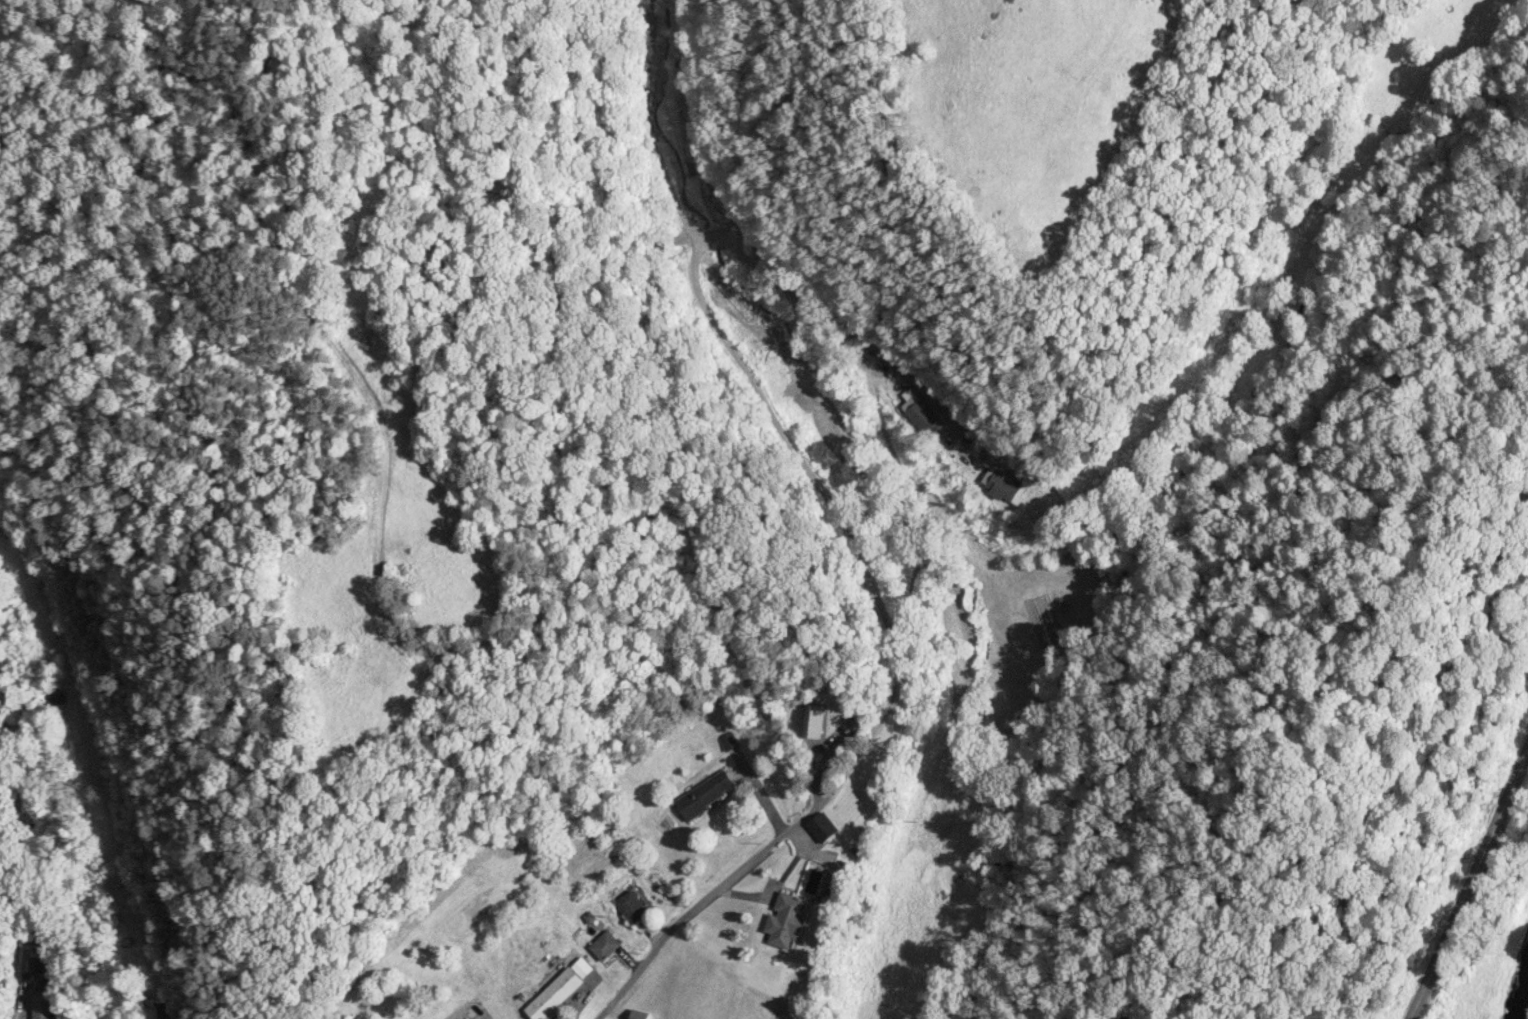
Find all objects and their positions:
building: (724, 205)
building: (923, 415)
building: (1006, 488)
road: (868, 666)
building: (815, 724)
building: (707, 796)
building: (827, 830)
road: (1468, 888)
building: (635, 909)
building: (788, 922)
building: (607, 947)
building: (558, 996)
river: (1520, 1000)
building: (42, 1012)
road: (475, 1017)
building: (637, 1017)

